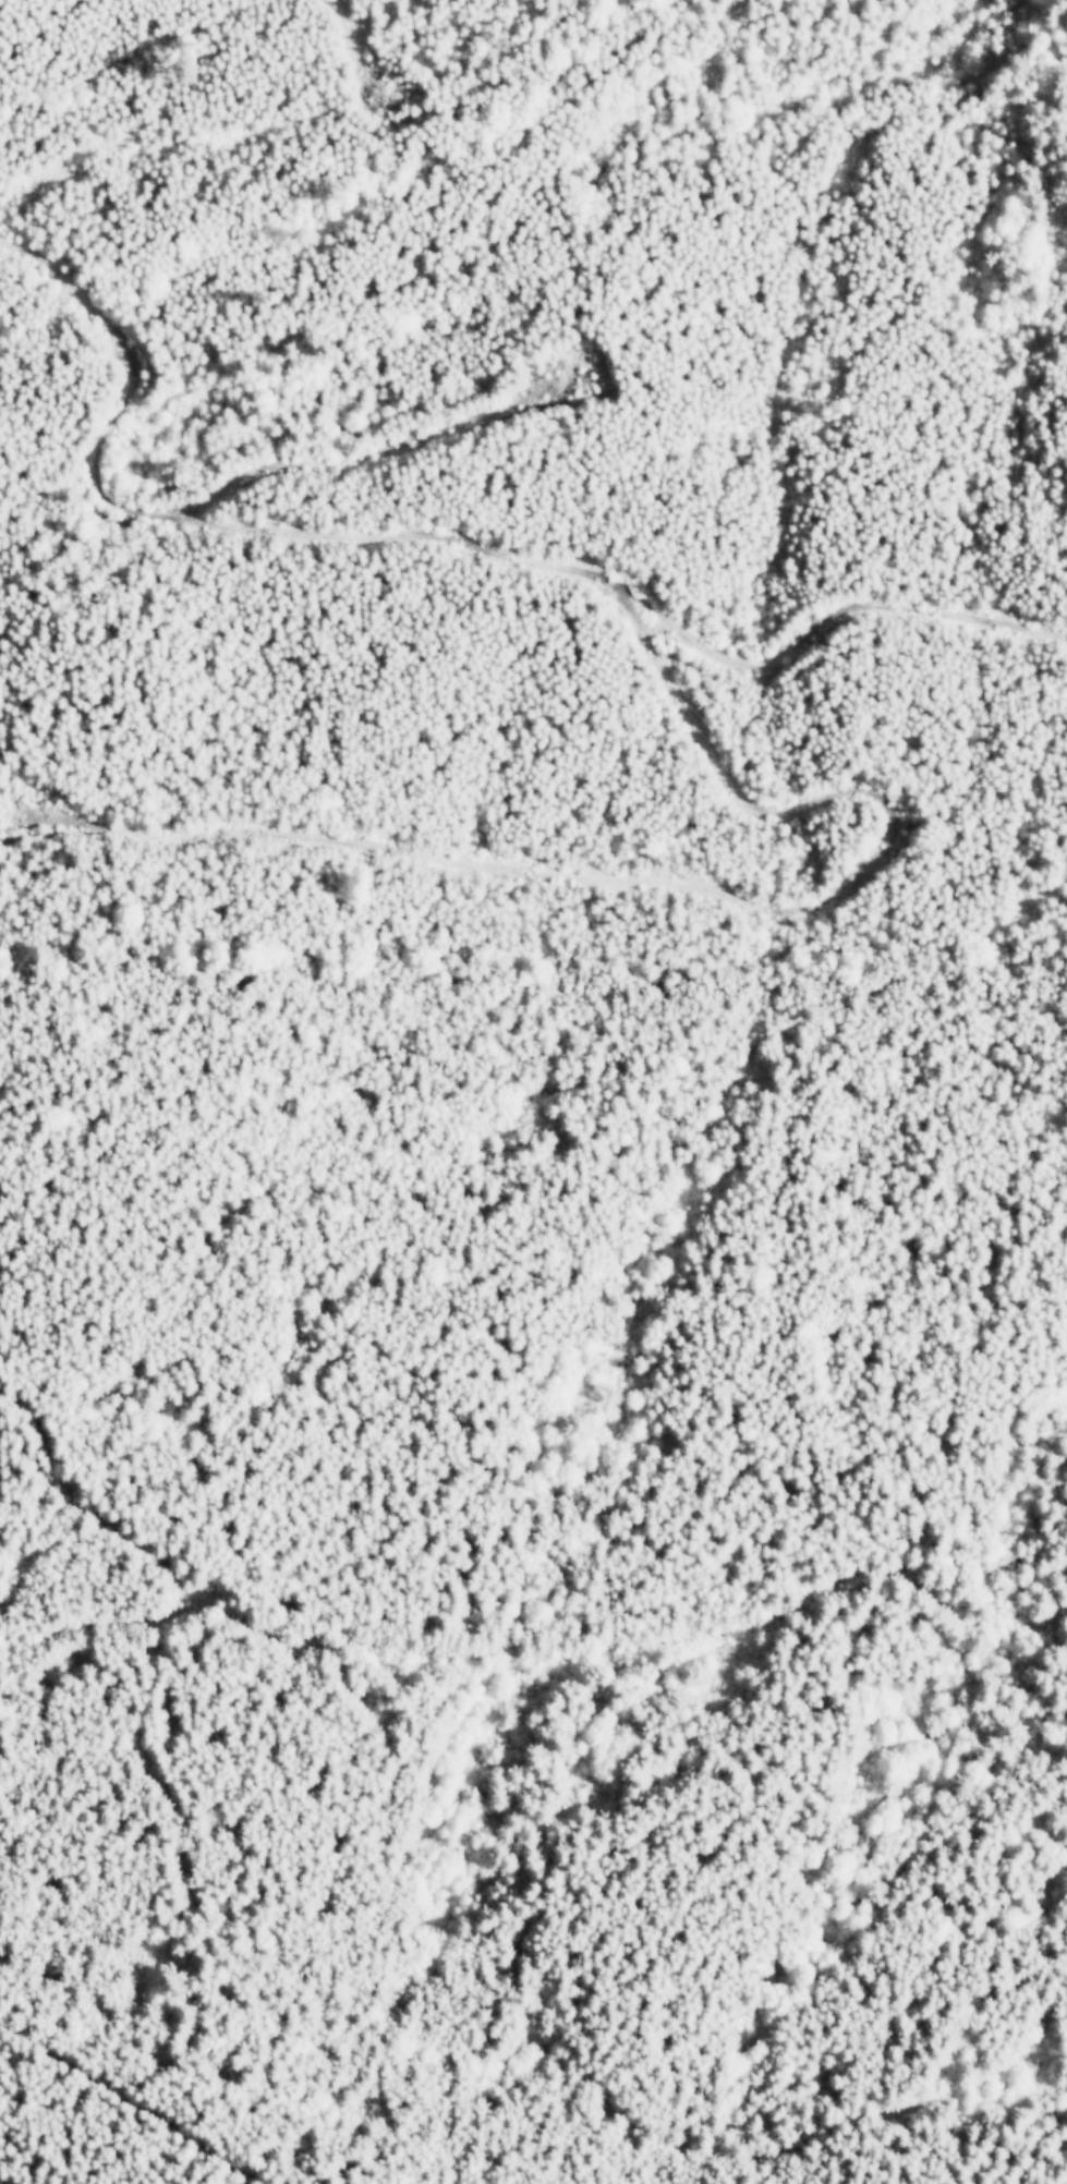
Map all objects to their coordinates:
road: (354, 51)
road: (374, 450)
road: (448, 541)
road: (675, 889)
road: (125, 2092)

